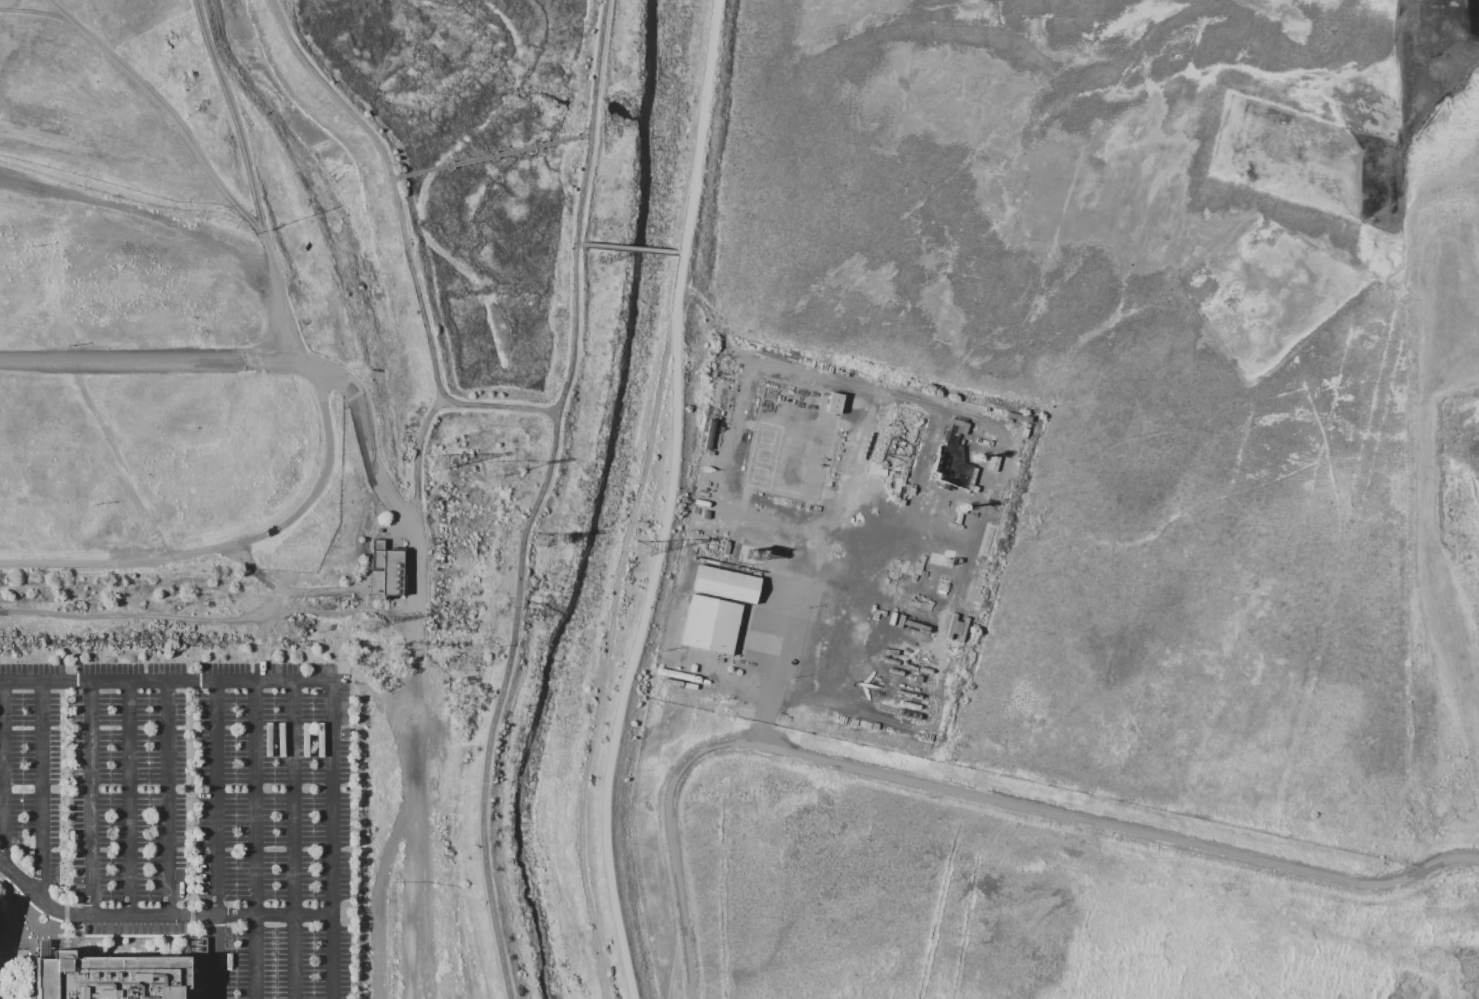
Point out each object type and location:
road: (32, 8)
road: (168, 106)
road: (591, 122)
road: (699, 125)
road: (491, 155)
road: (254, 186)
street lamp: (216, 208)
road: (142, 211)
road: (406, 235)
road: (579, 243)
street lamp: (34, 245)
road: (630, 247)
road: (681, 251)
park: (192, 296)
road: (573, 328)
street lamp: (66, 346)
road: (160, 360)
parking lot: (153, 393)
building: (834, 401)
road: (366, 444)
building: (953, 458)
road: (420, 459)
power tower: (434, 462)
power tower: (494, 468)
street lamp: (95, 505)
power tower: (540, 539)
road: (229, 546)
power tower: (642, 547)
building: (386, 570)
building: (725, 583)
road: (416, 590)
road: (294, 593)
road: (270, 608)
road: (206, 621)
power tower: (368, 622)
building: (710, 623)
road: (641, 626)
road: (612, 647)
street lamp: (105, 661)
street lamp: (139, 661)
street lamp: (164, 661)
street lamp: (192, 661)
street lamp: (217, 661)
street lamp: (245, 661)
street lamp: (276, 661)
street lamp: (312, 661)
street lamp: (334, 661)
street lamp: (16, 662)
street lamp: (48, 662)
street lamp: (77, 662)
road: (165, 682)
road: (374, 689)
road: (499, 702)
street lamp: (236, 703)
street lamp: (274, 703)
street lamp: (313, 703)
street lamp: (188, 740)
street lamp: (236, 740)
street lamp: (274, 740)
street lamp: (313, 740)
street lamp: (313, 772)
road: (4, 773)
street lamp: (236, 773)
street lamp: (275, 773)
road: (41, 790)
parking lot: (104, 790)
road: (966, 793)
road: (91, 798)
road: (129, 798)
road: (167, 798)
street lamp: (187, 798)
street lamp: (236, 798)
street lamp: (274, 798)
street lamp: (313, 798)
road: (67, 802)
road: (192, 808)
street lamp: (236, 825)
street lamp: (275, 825)
street lamp: (313, 825)
road: (418, 825)
street lamp: (188, 826)
parking lot: (275, 828)
road: (256, 839)
road: (332, 839)
road: (216, 840)
road: (293, 840)
street lamp: (236, 862)
street lamp: (275, 862)
street lamp: (313, 862)
road: (0, 875)
street lamp: (188, 892)
street lamp: (236, 895)
street lamp: (274, 895)
street lamp: (313, 895)
road: (4, 901)
building: (0, 902)
road: (157, 915)
road: (423, 934)
road: (126, 936)
road: (181, 936)
road: (78, 942)
road: (0, 947)
building: (44, 948)
road: (33, 974)
building: (110, 977)

